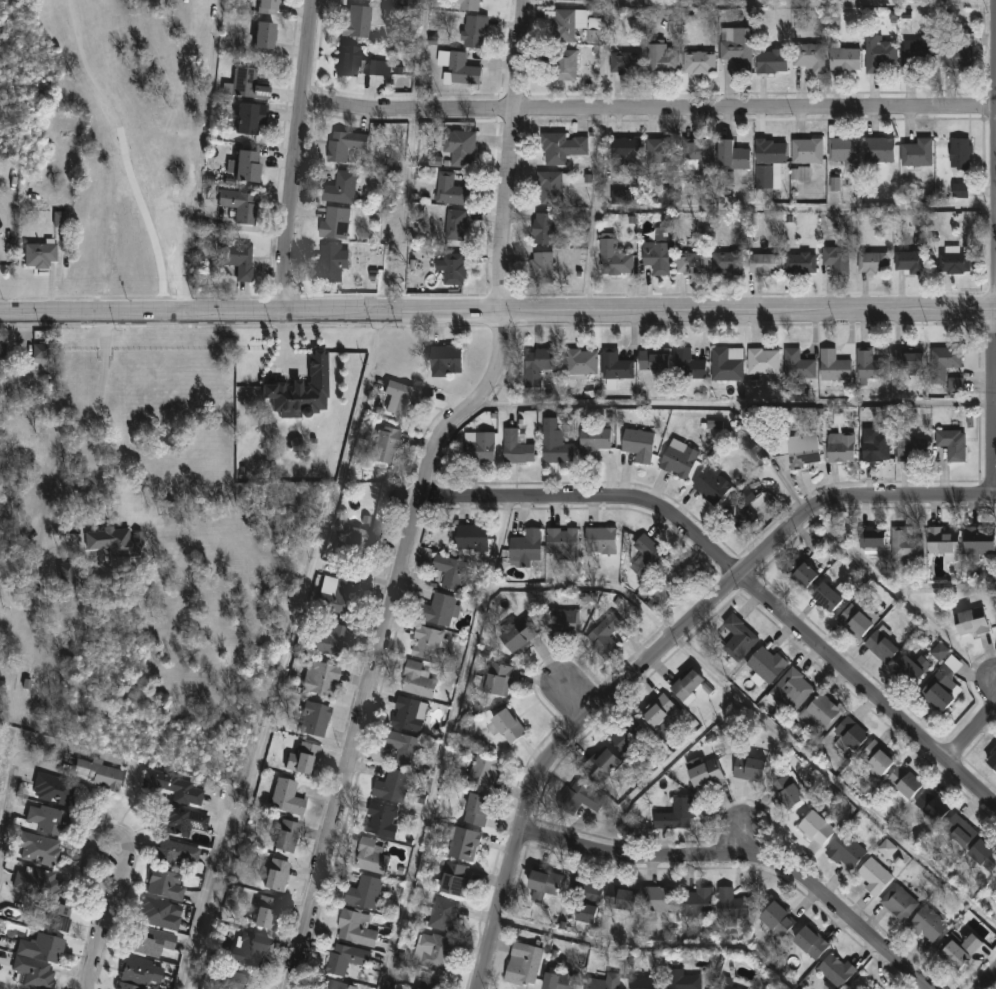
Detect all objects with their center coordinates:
building: (570, 1)
building: (468, 5)
building: (266, 7)
building: (357, 22)
building: (567, 25)
building: (593, 31)
building: (474, 34)
building: (263, 38)
building: (968, 40)
building: (736, 49)
road: (420, 54)
building: (879, 54)
building: (809, 58)
building: (918, 59)
building: (958, 59)
building: (661, 61)
building: (844, 61)
building: (771, 62)
building: (360, 64)
building: (626, 64)
building: (698, 64)
building: (562, 66)
building: (462, 71)
building: (247, 85)
road: (648, 106)
building: (249, 119)
park: (104, 144)
building: (344, 146)
building: (460, 149)
building: (561, 149)
building: (879, 151)
building: (661, 152)
building: (806, 152)
building: (844, 152)
building: (626, 153)
building: (770, 153)
building: (916, 154)
road: (509, 155)
building: (695, 155)
road: (995, 155)
road: (297, 156)
building: (960, 156)
road: (189, 157)
building: (732, 158)
building: (245, 167)
building: (800, 174)
building: (763, 179)
building: (835, 184)
building: (341, 189)
building: (550, 189)
building: (960, 190)
building: (450, 191)
building: (621, 197)
building: (240, 206)
road: (401, 210)
building: (61, 218)
building: (334, 225)
building: (456, 226)
building: (548, 231)
building: (41, 254)
building: (613, 259)
building: (657, 259)
building: (237, 260)
building: (837, 262)
building: (909, 263)
building: (954, 264)
building: (329, 265)
building: (691, 265)
building: (727, 265)
building: (800, 265)
building: (872, 265)
building: (763, 266)
building: (542, 269)
building: (455, 270)
road: (497, 312)
building: (41, 350)
building: (3, 351)
building: (445, 357)
building: (947, 357)
building: (909, 359)
building: (654, 360)
building: (582, 361)
building: (763, 361)
building: (727, 363)
building: (538, 364)
building: (798, 364)
building: (616, 365)
building: (688, 365)
building: (872, 365)
building: (834, 366)
building: (956, 385)
building: (303, 390)
building: (402, 395)
road: (736, 405)
road: (994, 405)
road: (86, 430)
building: (594, 439)
building: (555, 442)
building: (639, 443)
building: (953, 443)
building: (386, 444)
building: (876, 444)
building: (480, 446)
building: (516, 447)
building: (841, 447)
building: (911, 447)
building: (802, 450)
building: (679, 461)
building: (713, 482)
building: (742, 509)
building: (472, 536)
building: (871, 537)
building: (601, 539)
building: (356, 540)
building: (944, 540)
building: (980, 540)
building: (117, 541)
building: (563, 541)
building: (906, 543)
building: (526, 546)
road: (853, 552)
building: (647, 556)
building: (450, 570)
building: (800, 571)
road: (742, 576)
building: (67, 580)
road: (945, 586)
building: (336, 592)
building: (826, 595)
building: (439, 609)
building: (855, 620)
building: (971, 620)
building: (563, 621)
building: (517, 633)
building: (604, 635)
building: (739, 637)
building: (330, 639)
road: (385, 642)
building: (428, 642)
building: (881, 645)
road: (292, 650)
building: (940, 652)
road: (660, 654)
building: (766, 663)
building: (911, 667)
building: (322, 677)
building: (418, 678)
building: (498, 678)
building: (687, 682)
building: (792, 688)
road: (573, 693)
building: (937, 694)
building: (821, 711)
building: (410, 713)
road: (757, 713)
building: (662, 714)
building: (315, 717)
road: (972, 722)
building: (508, 724)
building: (851, 731)
building: (630, 736)
road: (444, 744)
building: (404, 747)
building: (307, 755)
building: (878, 756)
building: (992, 759)
building: (603, 764)
building: (749, 767)
building: (485, 770)
building: (705, 771)
building: (93, 773)
building: (904, 780)
building: (392, 785)
building: (171, 786)
building: (51, 788)
building: (788, 789)
building: (288, 795)
building: (580, 797)
building: (932, 804)
building: (477, 808)
building: (676, 813)
building: (43, 819)
building: (382, 819)
building: (177, 820)
road: (8, 822)
building: (816, 827)
building: (959, 829)
road: (115, 830)
building: (286, 834)
building: (464, 842)
building: (36, 849)
building: (846, 850)
building: (887, 850)
road: (86, 853)
building: (984, 853)
building: (174, 854)
building: (371, 855)
road: (126, 862)
road: (745, 865)
building: (276, 874)
building: (874, 875)
building: (454, 878)
road: (119, 880)
building: (544, 881)
building: (35, 882)
building: (995, 883)
building: (162, 884)
road: (95, 886)
building: (365, 891)
road: (112, 892)
building: (620, 897)
building: (659, 898)
building: (584, 899)
building: (696, 900)
building: (730, 902)
building: (900, 902)
road: (203, 905)
building: (266, 911)
building: (444, 913)
building: (156, 914)
building: (47, 915)
building: (777, 918)
building: (928, 923)
building: (356, 927)
building: (146, 940)
building: (810, 940)
road: (96, 943)
road: (649, 946)
building: (959, 946)
building: (250, 947)
building: (432, 950)
building: (345, 958)
building: (34, 959)
building: (524, 963)
building: (837, 969)
building: (138, 970)
building: (683, 979)
building: (239, 980)
building: (559, 980)
building: (604, 981)
building: (644, 981)
building: (727, 982)
road: (990, 982)
building: (339, 985)
road: (9, 986)
building: (126, 987)
building: (426, 987)

